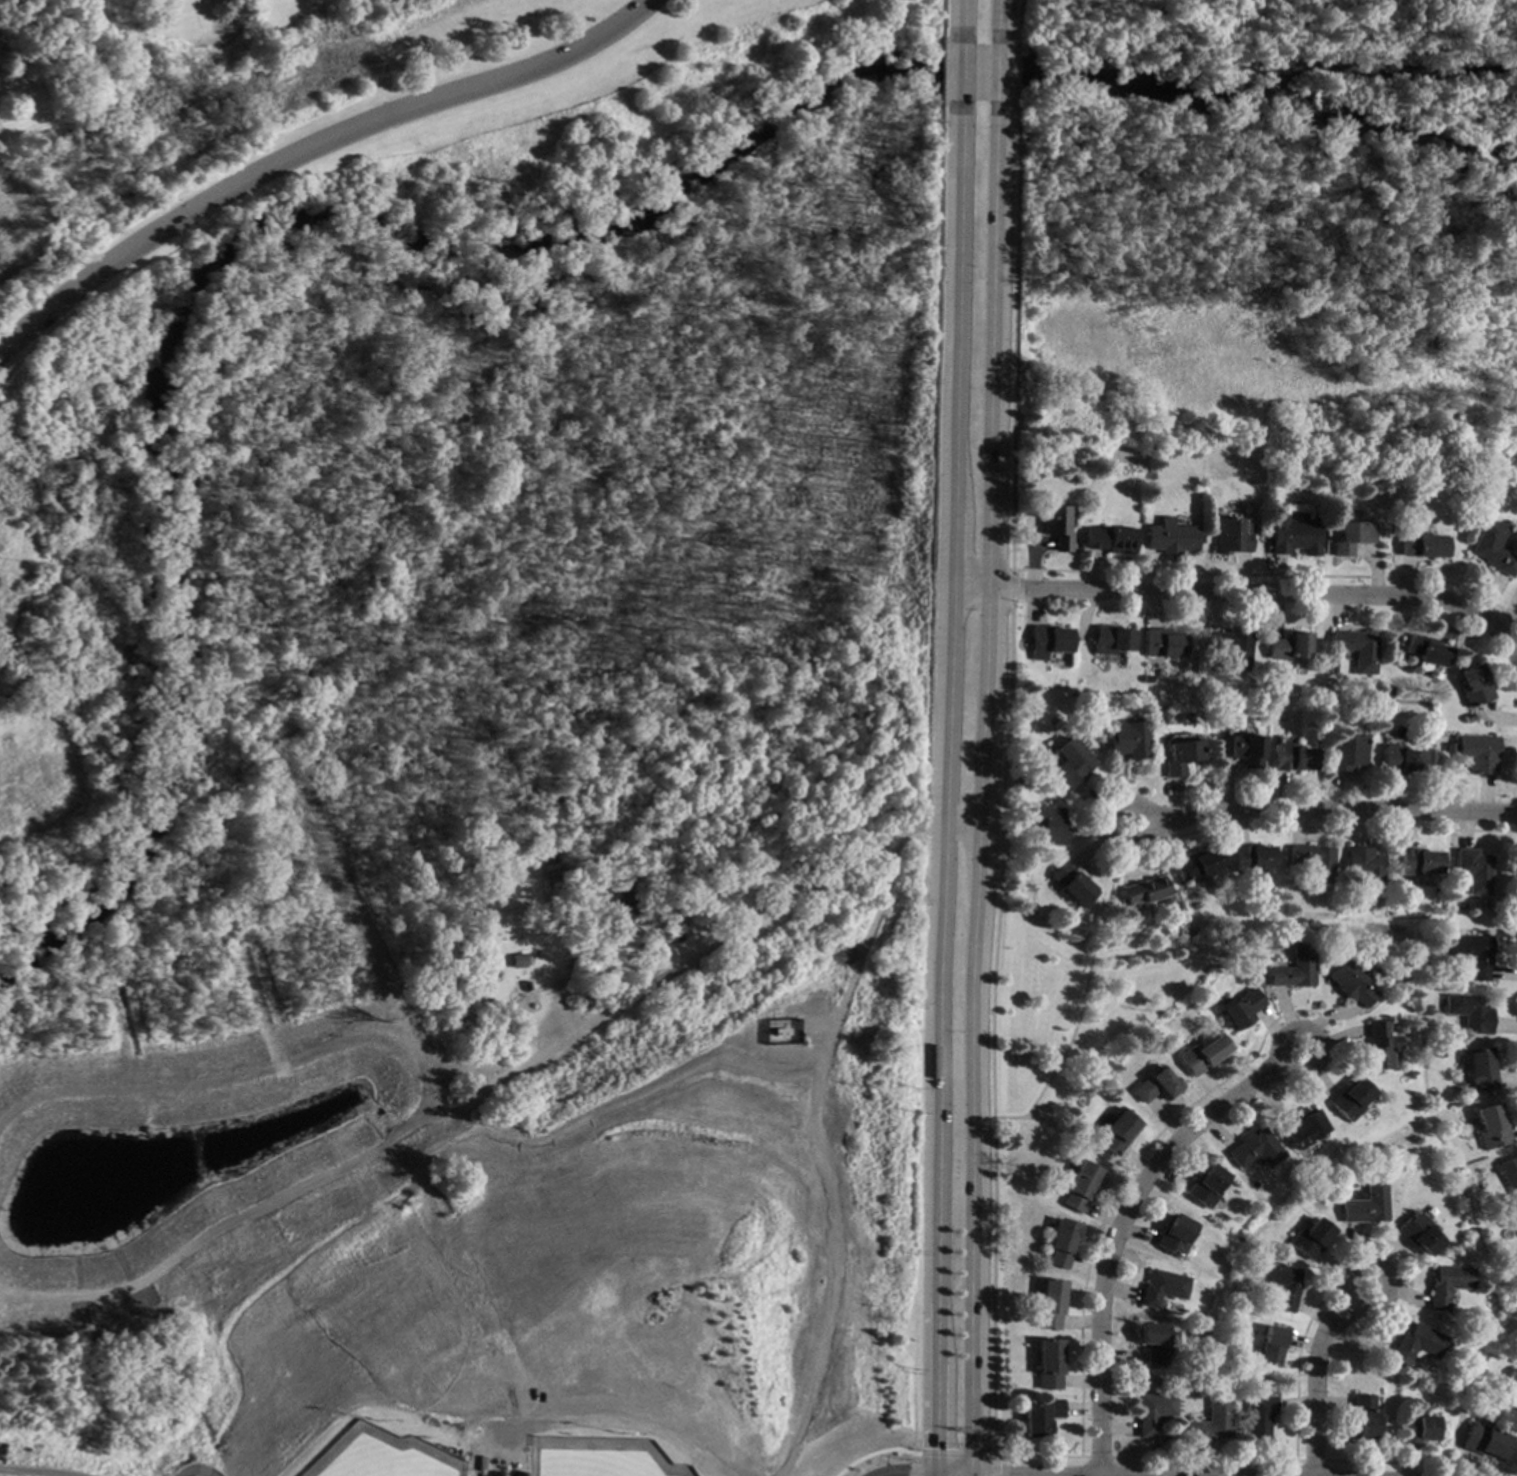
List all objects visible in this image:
road: (1015, 15)
road: (961, 18)
road: (1000, 19)
park: (77, 56)
road: (1011, 79)
road: (960, 82)
road: (999, 83)
building: (1305, 111)
building: (1350, 122)
road: (308, 147)
park: (1264, 234)
river: (470, 250)
road: (1009, 348)
park: (457, 413)
road: (952, 475)
building: (1051, 526)
building: (1228, 534)
building: (1290, 534)
building: (1351, 535)
building: (1166, 536)
building: (1104, 539)
road: (1388, 539)
building: (1422, 544)
building: (1492, 548)
road: (1269, 576)
road: (1005, 587)
road: (1246, 595)
building: (1107, 640)
building: (1043, 641)
building: (1160, 644)
building: (1288, 644)
building: (1230, 646)
building: (1355, 649)
building: (1426, 652)
building: (1475, 685)
building: (1470, 718)
building: (1036, 729)
building: (1124, 739)
building: (1452, 747)
building: (1240, 749)
building: (1345, 751)
building: (1480, 753)
building: (1179, 755)
building: (1293, 757)
building: (1402, 759)
building: (1068, 763)
building: (1030, 767)
road: (983, 801)
road: (1319, 811)
road: (963, 823)
building: (1047, 824)
building: (545, 854)
building: (1253, 859)
building: (1317, 860)
building: (1422, 861)
building: (1198, 864)
building: (1370, 867)
building: (1479, 869)
building: (1074, 884)
building: (1146, 890)
building: (622, 908)
road: (711, 937)
building: (1476, 953)
road: (376, 955)
building: (524, 961)
building: (1297, 968)
road: (1092, 976)
building: (1357, 985)
building: (1245, 1008)
building: (1472, 1012)
building: (1387, 1045)
building: (1210, 1054)
building: (1483, 1068)
building: (1162, 1085)
building: (1357, 1099)
building: (1493, 1127)
building: (1126, 1129)
building: (1308, 1129)
road: (1066, 1134)
road: (937, 1148)
building: (1261, 1148)
building: (1510, 1174)
building: (1085, 1186)
building: (1211, 1186)
building: (1369, 1204)
road: (253, 1213)
road: (1124, 1225)
building: (1420, 1233)
building: (1179, 1234)
building: (1314, 1238)
building: (1064, 1241)
building: (1284, 1283)
building: (1448, 1284)
building: (1164, 1287)
building: (1051, 1303)
building: (1153, 1341)
building: (1271, 1344)
building: (1415, 1344)
road: (991, 1356)
building: (1049, 1364)
building: (1451, 1367)
road: (1311, 1370)
building: (1512, 1386)
building: (1151, 1411)
building: (1039, 1416)
building: (1257, 1417)
building: (1362, 1418)
road: (576, 1421)
building: (1210, 1421)
building: (1418, 1428)
building: (1484, 1441)
traffic signals: (932, 1449)
road: (873, 1453)
road: (953, 1455)
park: (368, 1456)
road: (1092, 1457)
park: (585, 1458)
road: (989, 1466)
road: (188, 1471)
road: (29, 1472)
traffic signals: (906, 1473)
road: (907, 1473)
building: (485, 1474)
road: (931, 1474)
road: (951, 1474)
road: (972, 1475)
road: (983, 1475)
traffic signals: (996, 1475)

